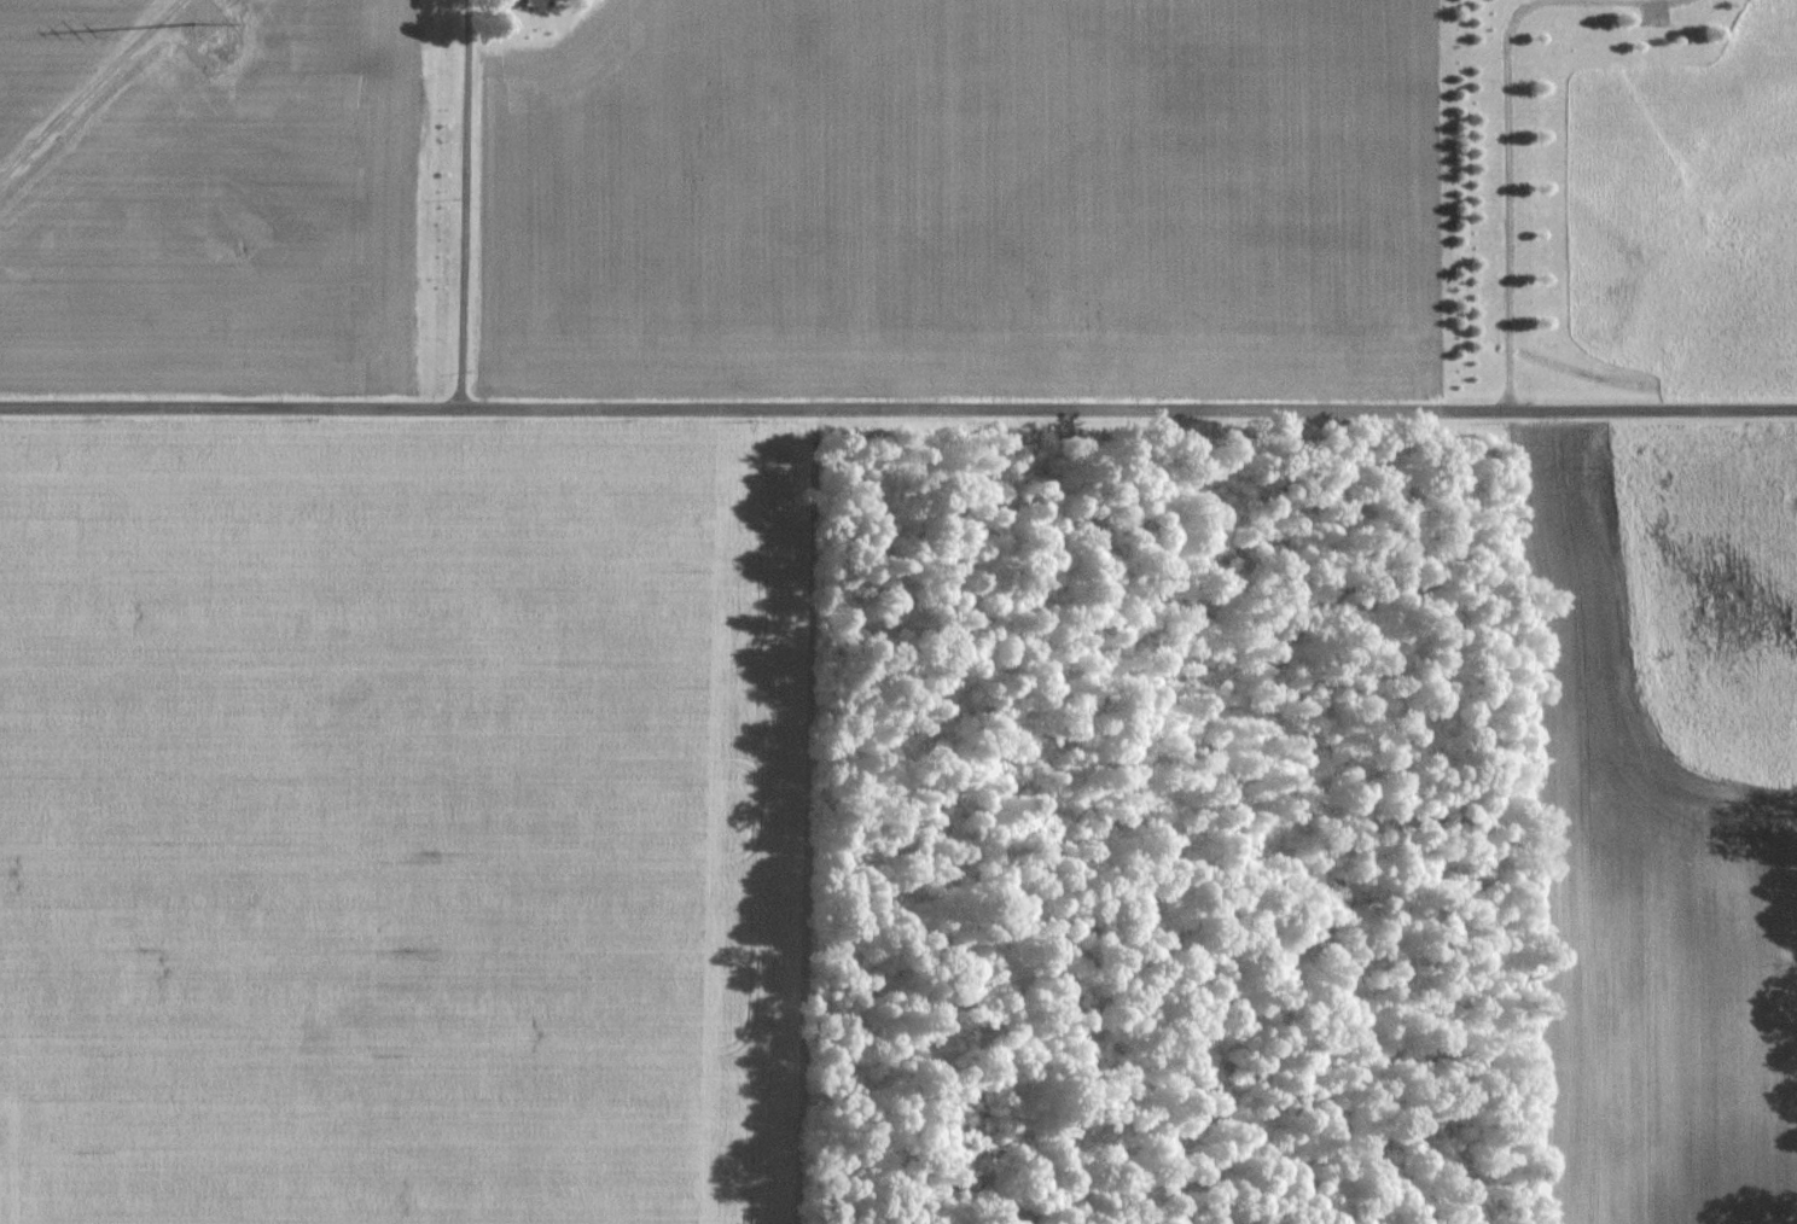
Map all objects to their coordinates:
road: (1630, 1)
building: (525, 2)
parking lot: (1652, 16)
power tower: (219, 45)
road: (1508, 194)
road: (464, 203)
road: (899, 408)

